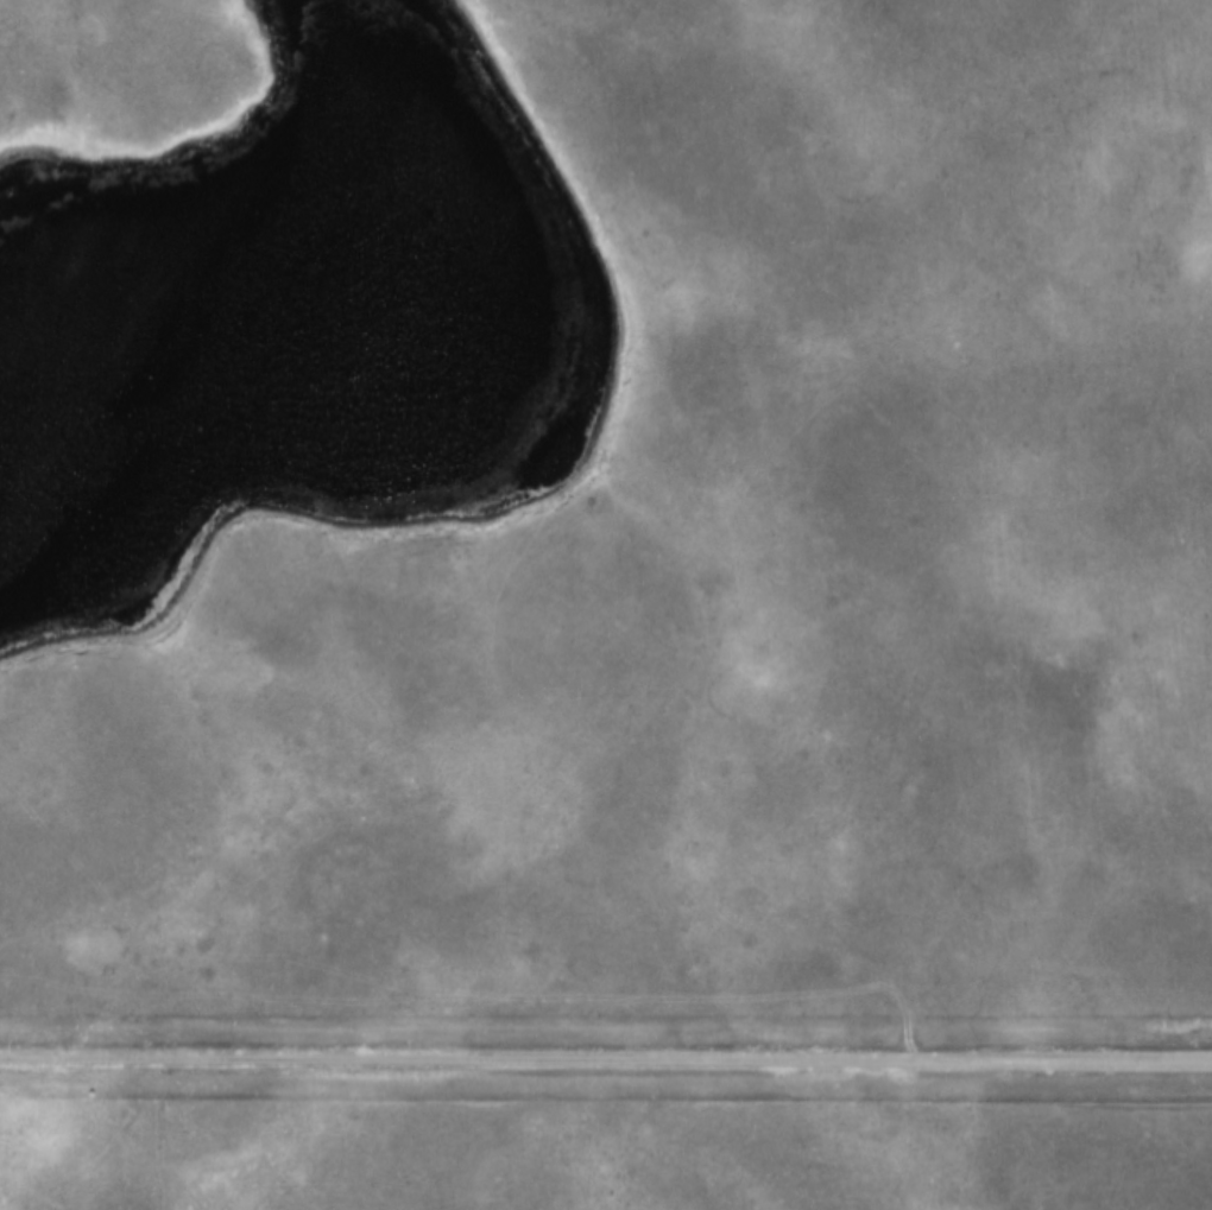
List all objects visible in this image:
road: (606, 1059)

